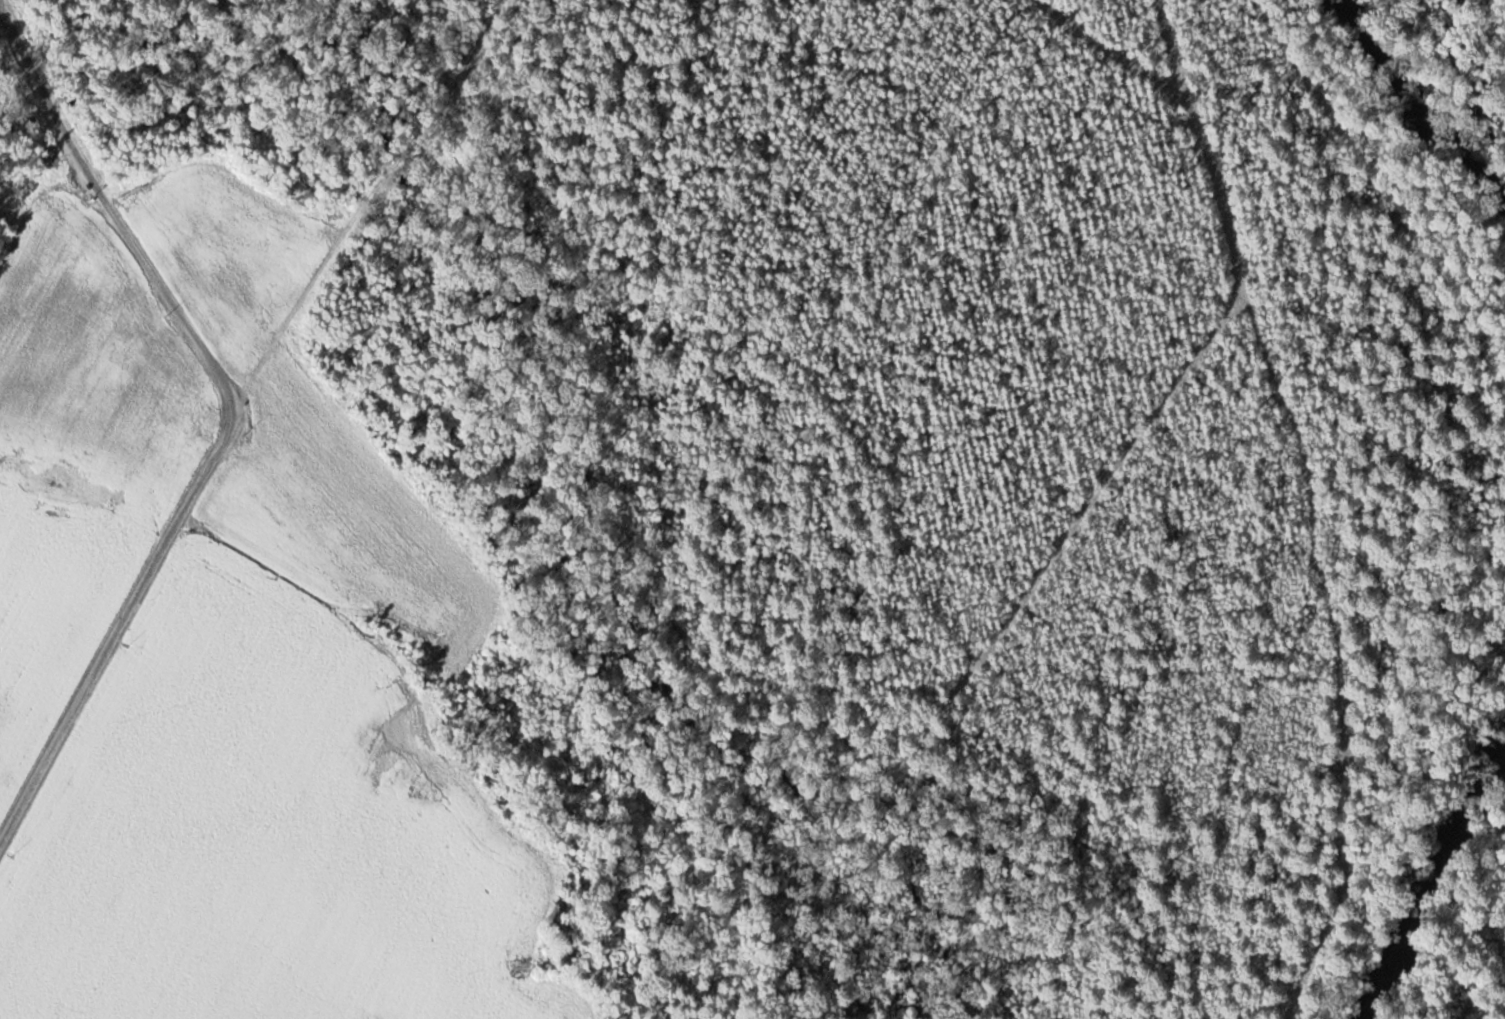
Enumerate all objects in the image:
river: (1422, 107)
river: (1453, 926)

